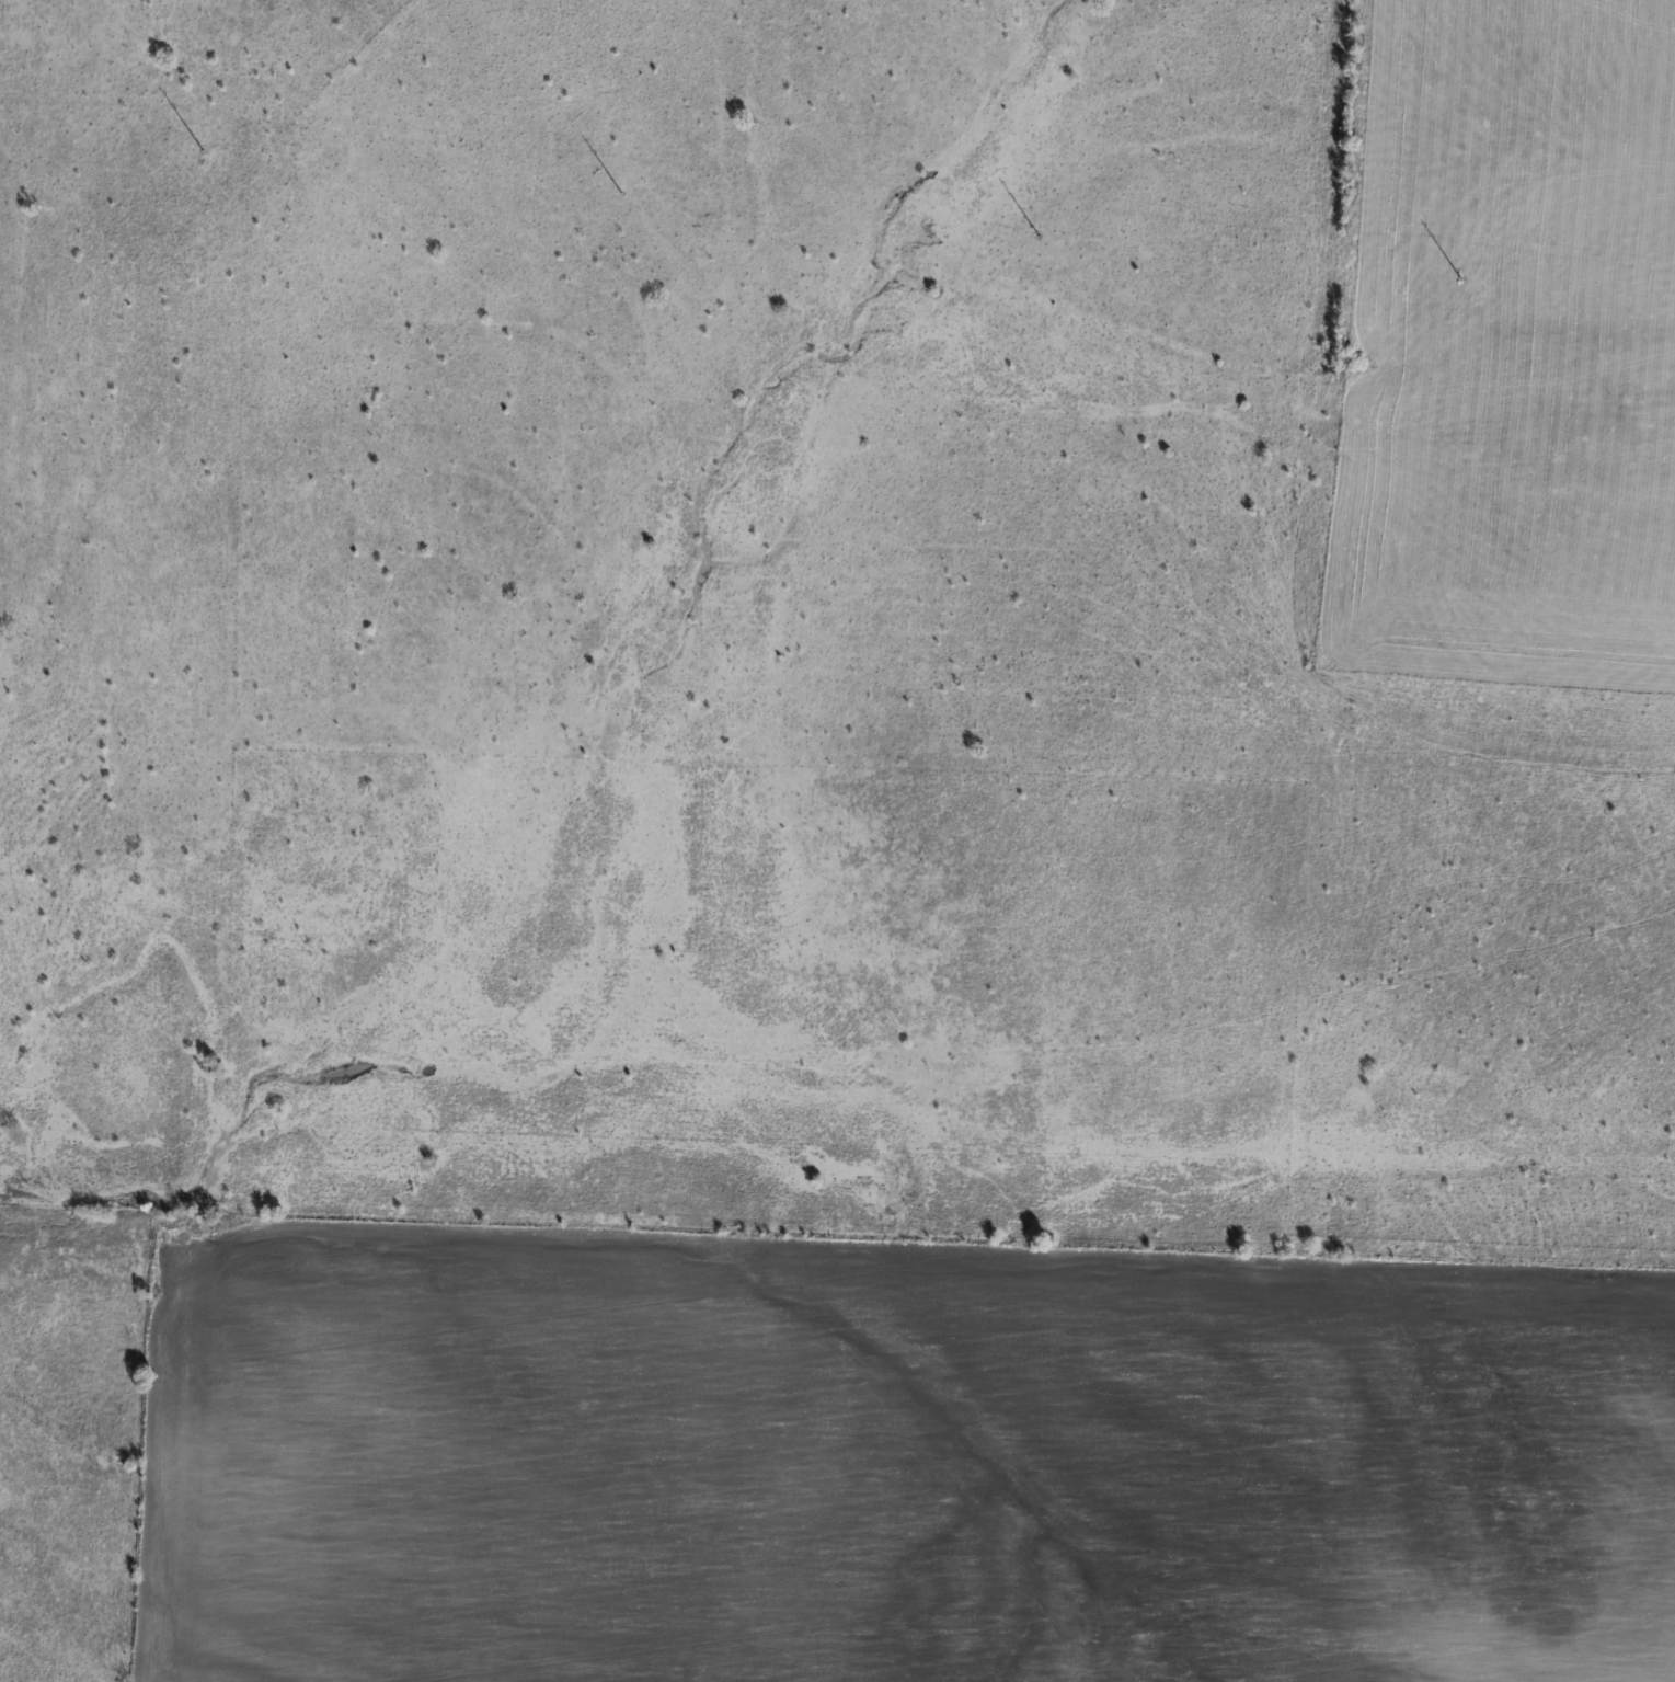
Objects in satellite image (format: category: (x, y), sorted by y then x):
power tower: (200, 149)
power tower: (621, 192)
power tower: (1037, 234)
power tower: (1460, 277)

